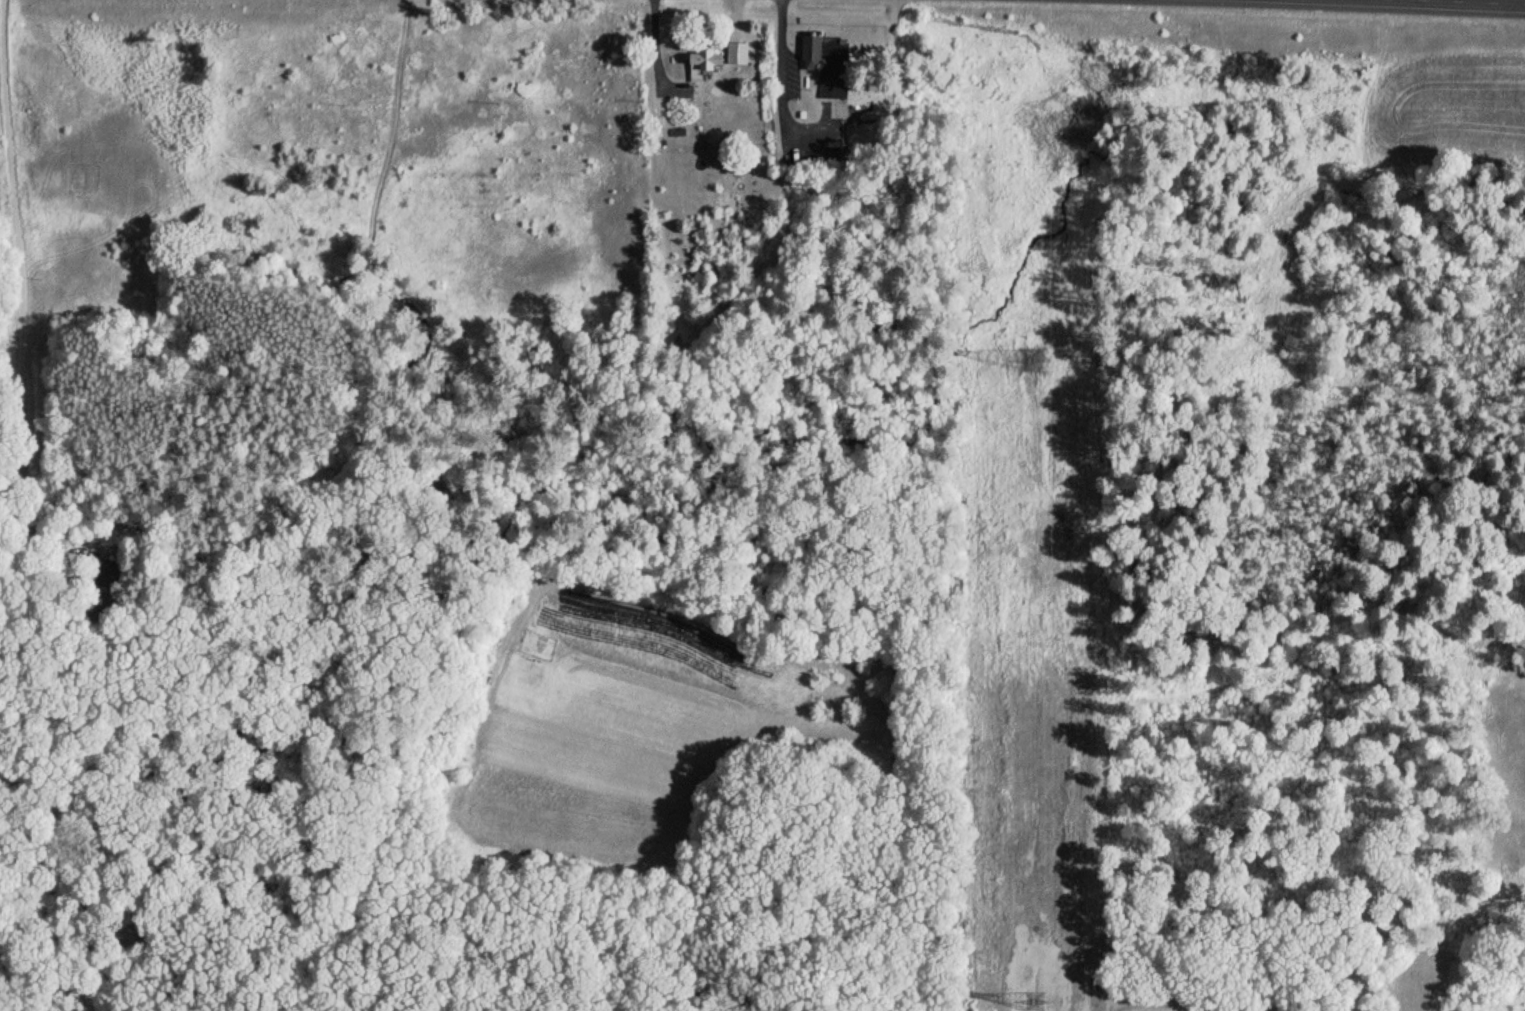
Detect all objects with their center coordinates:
road: (1489, 1)
building: (701, 62)
building: (830, 67)
road: (778, 91)
road: (15, 184)
power tower: (1031, 359)
power tower: (1039, 994)

